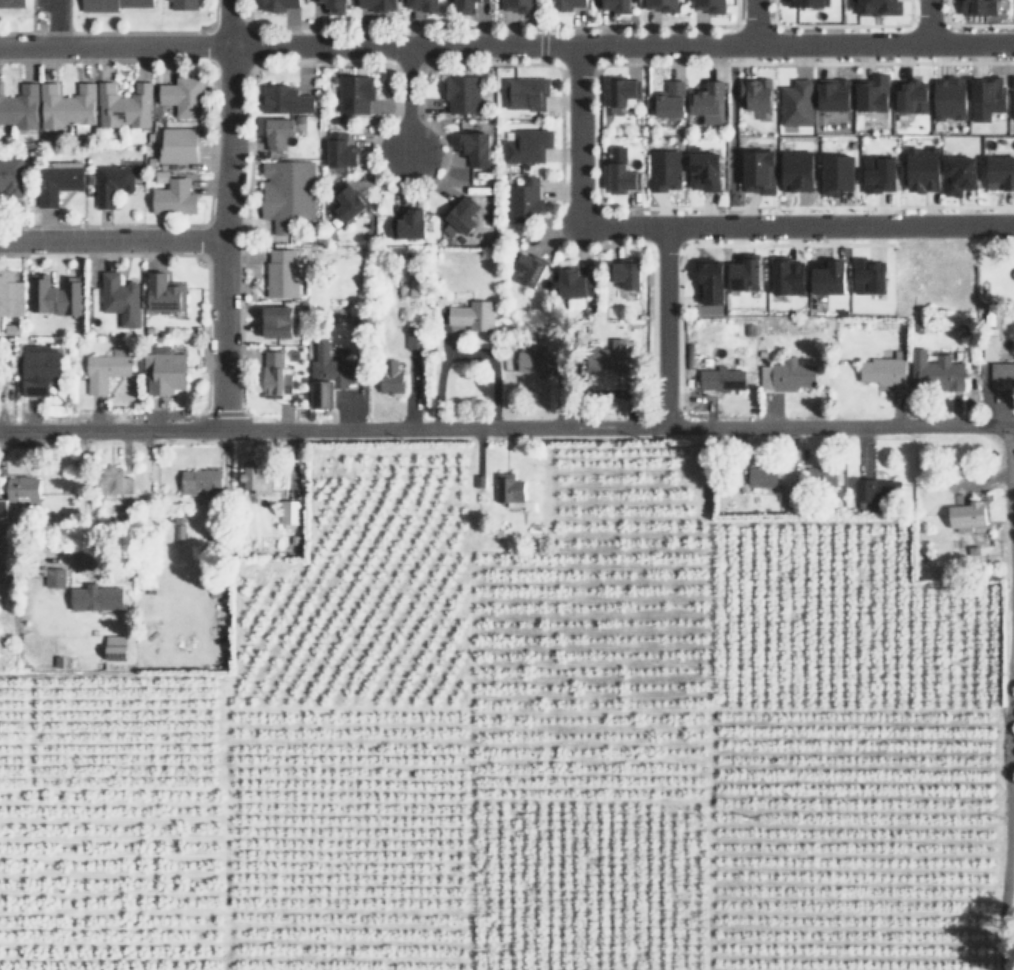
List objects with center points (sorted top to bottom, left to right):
building: (487, 0)
building: (807, 1)
building: (562, 3)
building: (11, 4)
building: (182, 4)
building: (276, 4)
building: (378, 4)
building: (423, 4)
building: (463, 4)
building: (519, 4)
building: (662, 4)
building: (710, 4)
building: (110, 5)
building: (615, 5)
building: (879, 5)
building: (982, 5)
building: (335, 6)
road: (242, 10)
road: (32, 16)
road: (68, 16)
road: (924, 19)
road: (731, 21)
road: (750, 21)
road: (925, 21)
road: (54, 22)
road: (540, 22)
road: (769, 22)
road: (944, 22)
road: (981, 25)
road: (470, 26)
road: (829, 27)
road: (118, 33)
road: (507, 45)
road: (950, 53)
road: (540, 54)
road: (499, 63)
building: (619, 88)
building: (524, 91)
building: (353, 92)
building: (462, 93)
building: (182, 95)
building: (867, 95)
building: (283, 97)
building: (748, 97)
building: (828, 97)
building: (983, 98)
building: (669, 99)
building: (907, 99)
building: (1012, 99)
building: (945, 100)
road: (404, 101)
building: (707, 102)
building: (65, 105)
building: (19, 106)
building: (121, 106)
building: (789, 106)
building: (275, 130)
road: (572, 134)
road: (728, 136)
building: (175, 144)
building: (525, 144)
building: (472, 146)
building: (338, 150)
building: (662, 170)
building: (705, 170)
building: (918, 170)
building: (1000, 171)
building: (751, 172)
building: (791, 173)
building: (832, 174)
building: (955, 174)
building: (10, 175)
building: (873, 176)
building: (620, 177)
building: (53, 179)
building: (106, 183)
building: (286, 189)
road: (403, 189)
building: (173, 198)
building: (522, 200)
building: (345, 201)
road: (737, 206)
road: (224, 214)
building: (461, 215)
building: (407, 223)
road: (175, 225)
road: (794, 228)
road: (993, 238)
road: (111, 239)
road: (236, 239)
road: (201, 240)
road: (635, 244)
road: (178, 253)
building: (523, 268)
building: (625, 271)
building: (279, 272)
building: (741, 274)
building: (867, 274)
building: (828, 276)
building: (786, 277)
building: (568, 280)
building: (709, 282)
building: (116, 293)
building: (162, 293)
building: (10, 294)
building: (55, 294)
road: (647, 302)
building: (470, 316)
building: (276, 321)
road: (673, 328)
road: (658, 329)
building: (415, 335)
building: (534, 357)
building: (603, 357)
building: (162, 367)
building: (104, 369)
building: (36, 370)
building: (879, 370)
building: (940, 372)
building: (4, 374)
building: (326, 374)
building: (1000, 374)
building: (790, 375)
building: (274, 376)
building: (718, 378)
building: (389, 383)
road: (0, 409)
road: (506, 429)
building: (253, 475)
building: (763, 477)
building: (819, 477)
building: (198, 481)
building: (112, 484)
building: (18, 489)
building: (507, 489)
building: (874, 491)
building: (788, 494)
building: (2, 511)
building: (289, 511)
building: (964, 514)
building: (53, 577)
building: (93, 594)
building: (117, 645)
road: (1007, 697)

